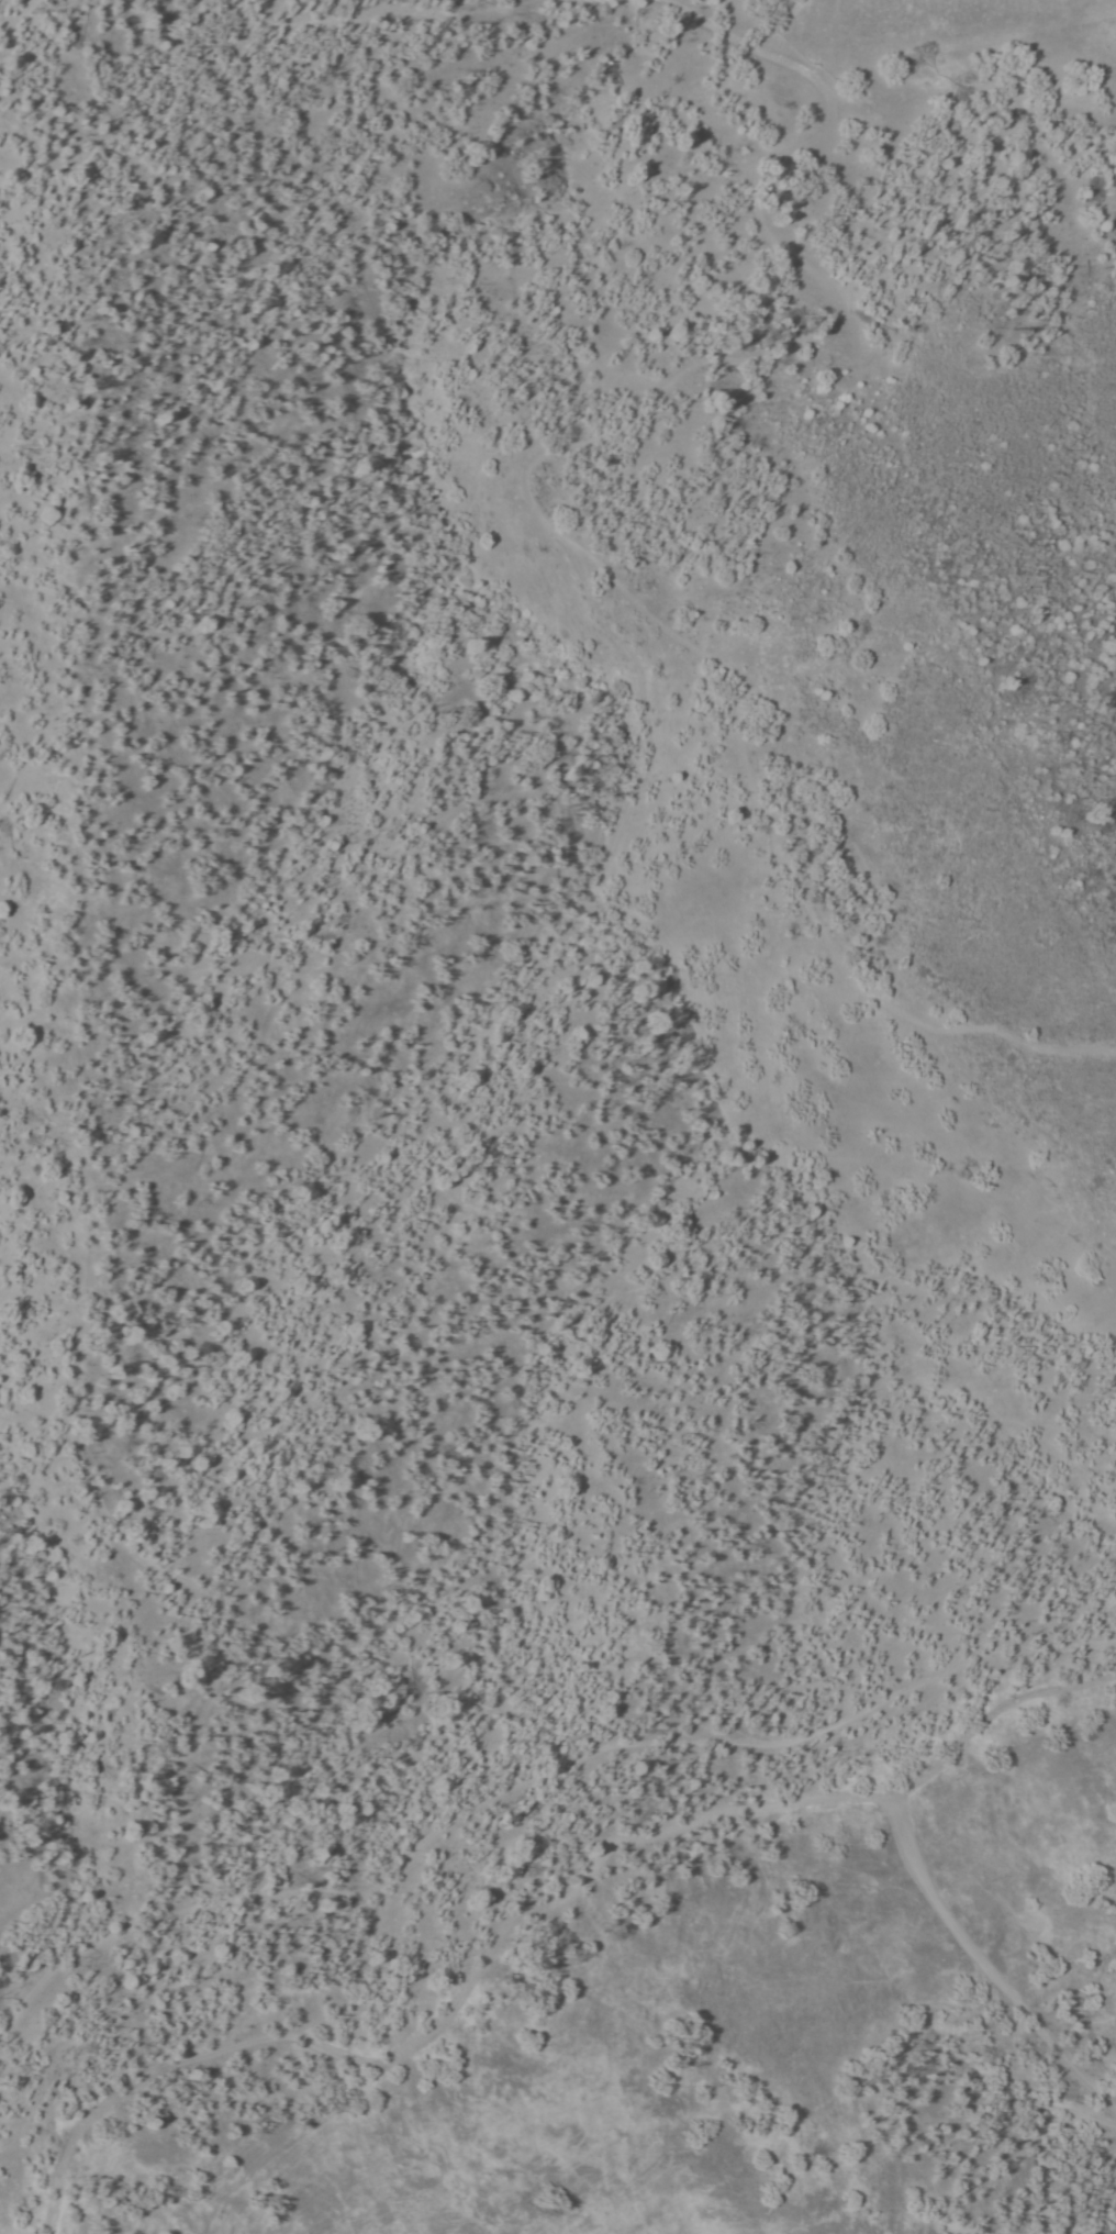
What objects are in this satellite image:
road: (538, 10)
road: (982, 1978)
road: (449, 2021)
road: (1114, 2118)
road: (1039, 2137)

